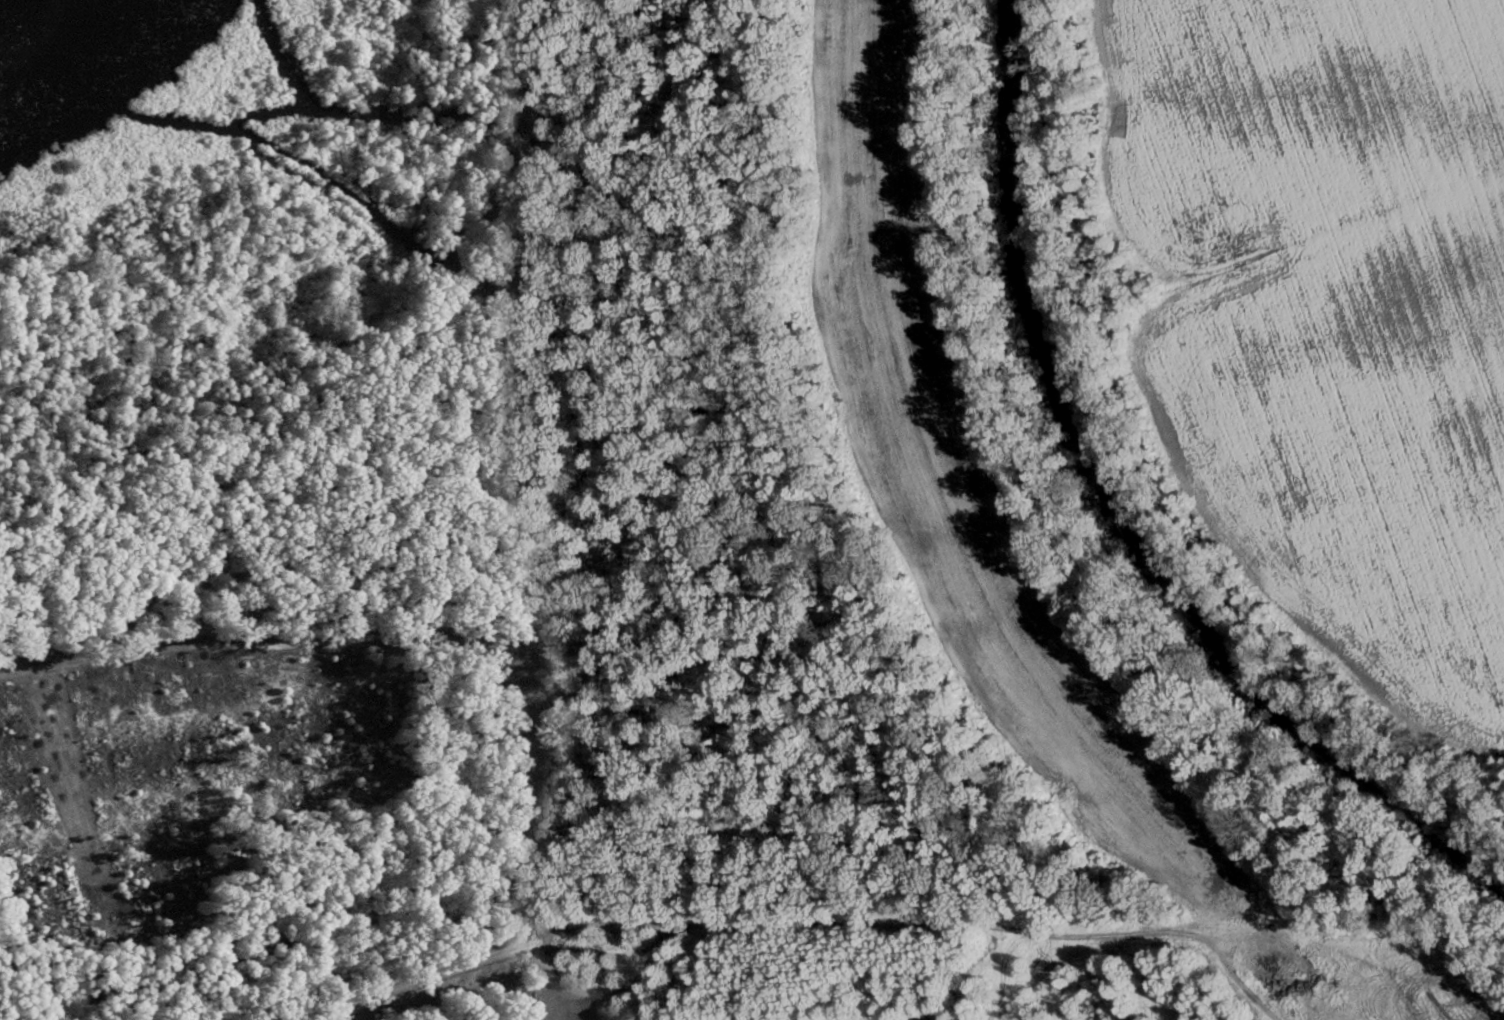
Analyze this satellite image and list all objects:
river: (1126, 522)

